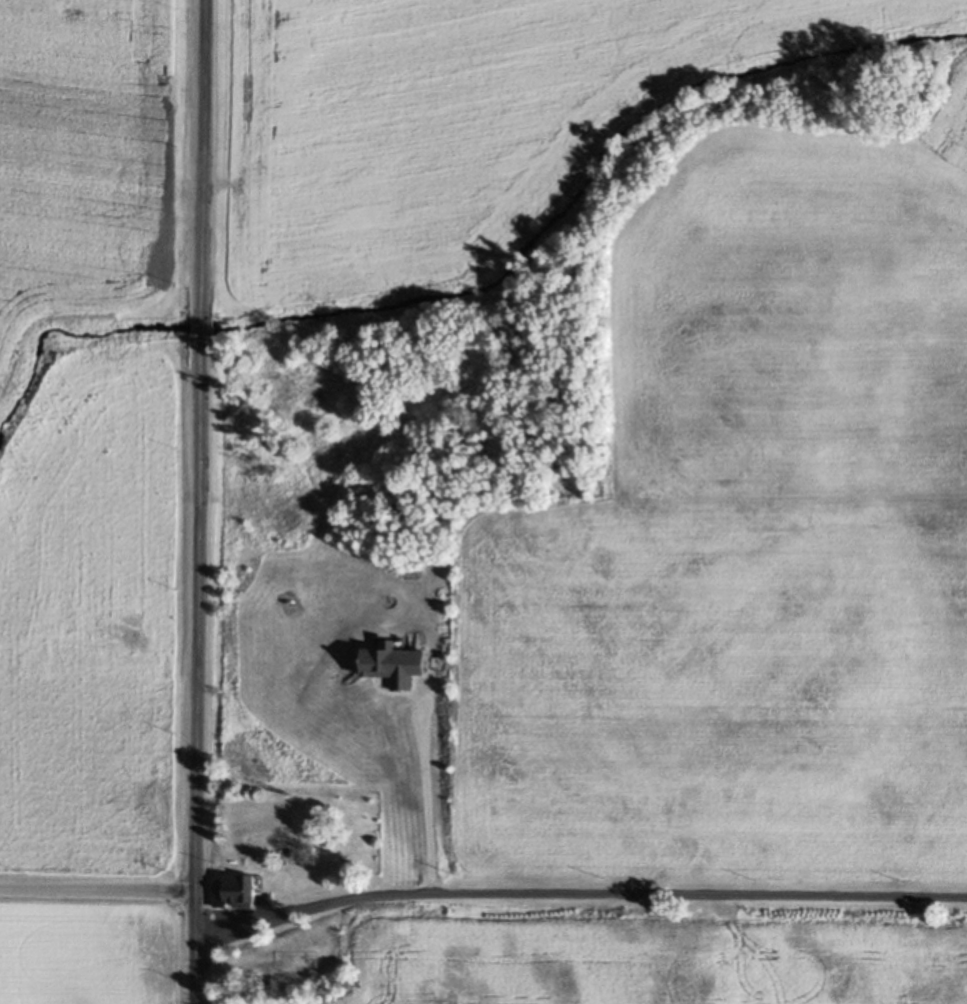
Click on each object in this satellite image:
road: (205, 156)
road: (202, 330)
road: (198, 675)
road: (420, 787)
road: (98, 890)
building: (232, 893)
road: (578, 894)

